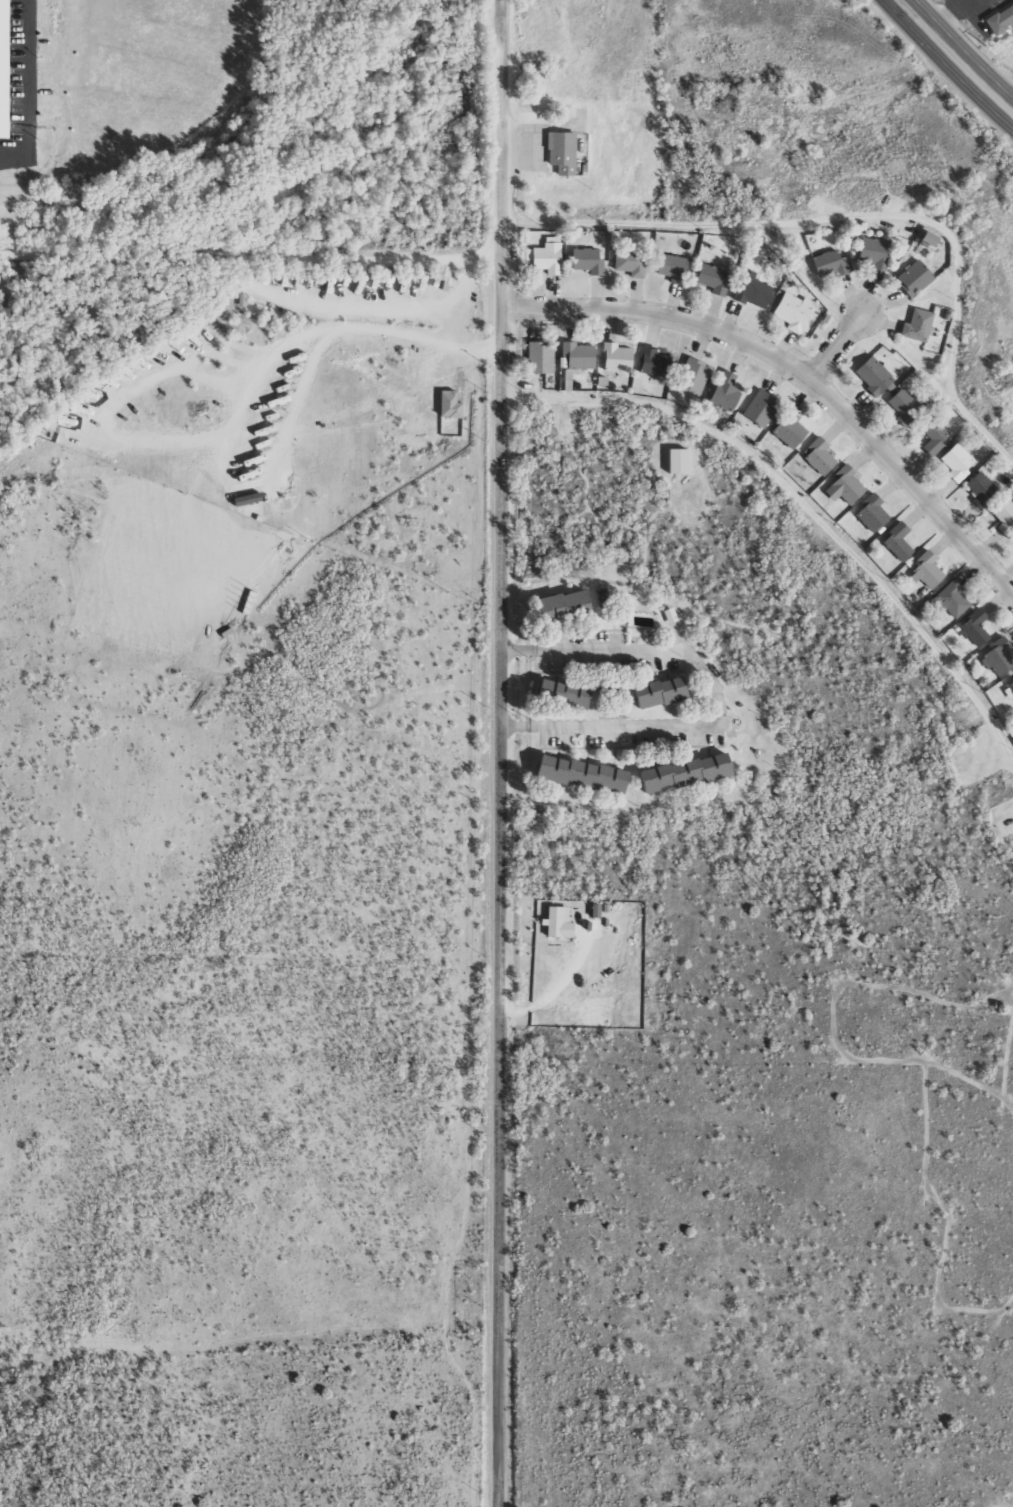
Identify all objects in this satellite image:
building: (1002, 18)
road: (953, 58)
building: (1, 64)
building: (558, 155)
road: (855, 215)
building: (868, 258)
building: (541, 260)
building: (583, 263)
building: (626, 264)
building: (825, 270)
building: (668, 271)
building: (710, 282)
building: (908, 282)
building: (747, 295)
building: (788, 315)
building: (914, 329)
road: (835, 347)
building: (574, 358)
building: (534, 360)
building: (612, 360)
building: (650, 364)
road: (798, 376)
building: (570, 378)
building: (870, 379)
building: (687, 380)
building: (721, 393)
building: (452, 404)
building: (756, 410)
building: (900, 410)
building: (784, 432)
building: (929, 440)
building: (815, 460)
building: (674, 463)
building: (952, 466)
building: (842, 485)
building: (976, 490)
road: (801, 507)
building: (868, 514)
building: (1002, 520)
building: (895, 544)
building: (922, 572)
building: (950, 601)
building: (567, 604)
building: (971, 630)
building: (996, 658)
building: (1010, 686)
building: (666, 691)
building: (567, 693)
road: (723, 705)
road: (501, 753)
building: (690, 772)
building: (587, 774)
building: (598, 910)
building: (562, 922)

